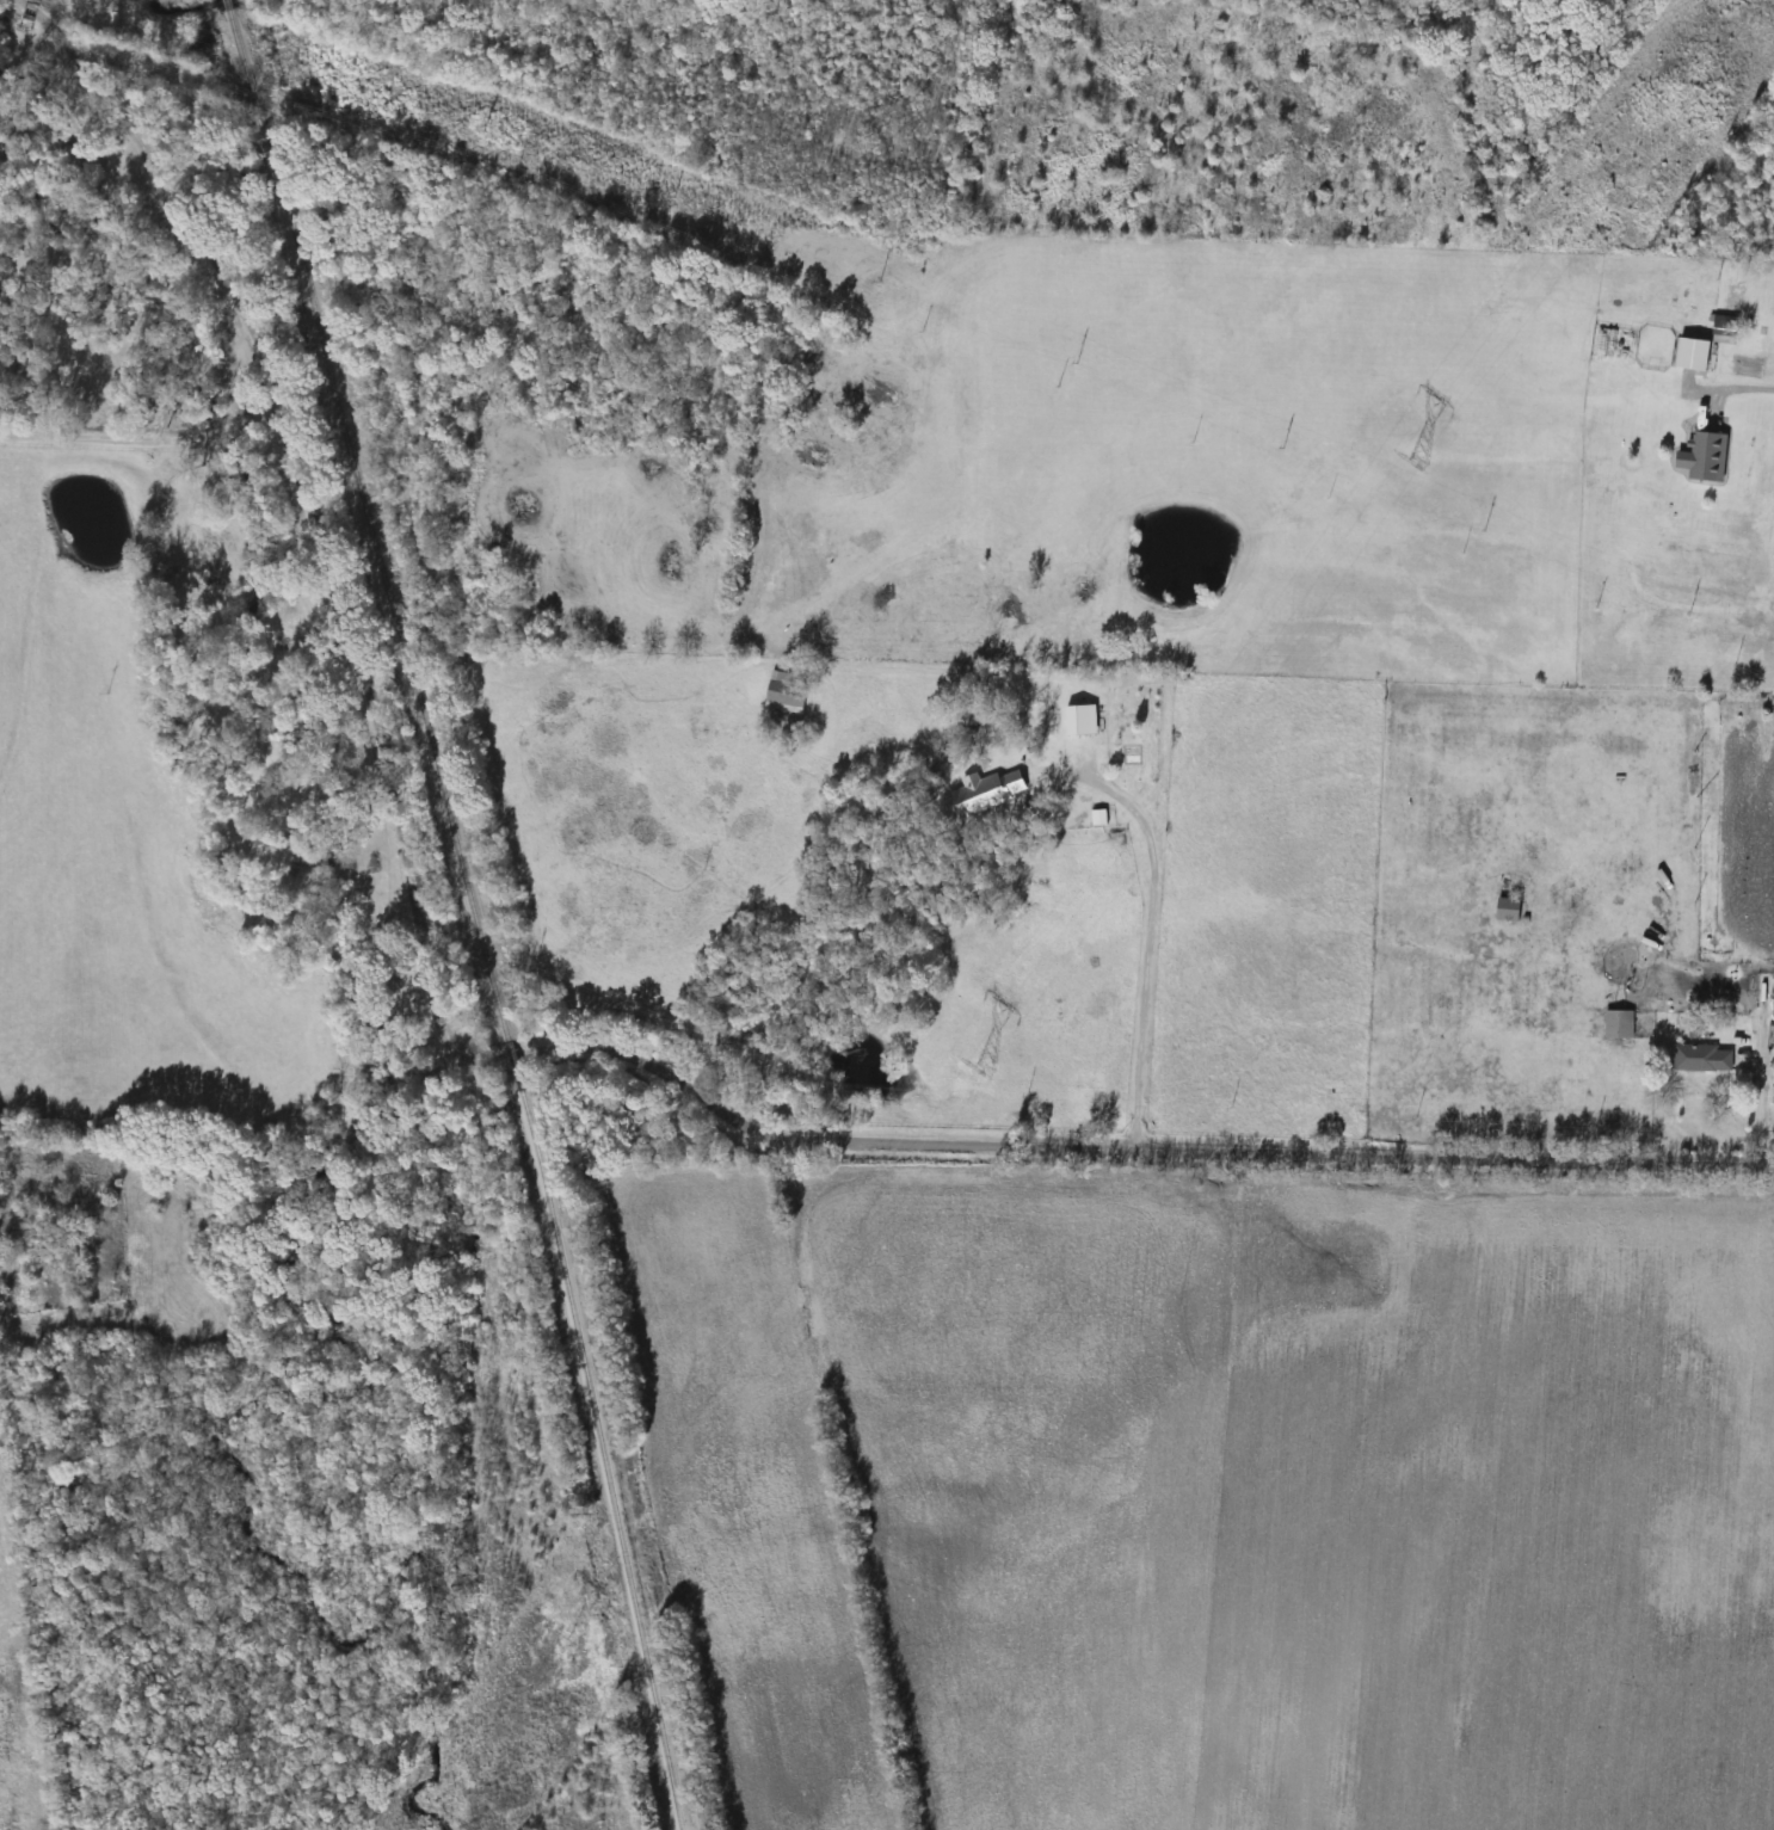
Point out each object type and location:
road: (1736, 387)
road: (129, 432)
building: (1708, 456)
power tower: (1417, 462)
railway: (362, 519)
road: (310, 655)
building: (978, 793)
building: (1509, 908)
road: (1150, 945)
building: (1619, 1024)
building: (1702, 1058)
railway: (513, 1066)
power tower: (983, 1067)
road: (1758, 1111)
road: (1262, 1153)
railway: (600, 1460)
power tower: (579, 1638)

